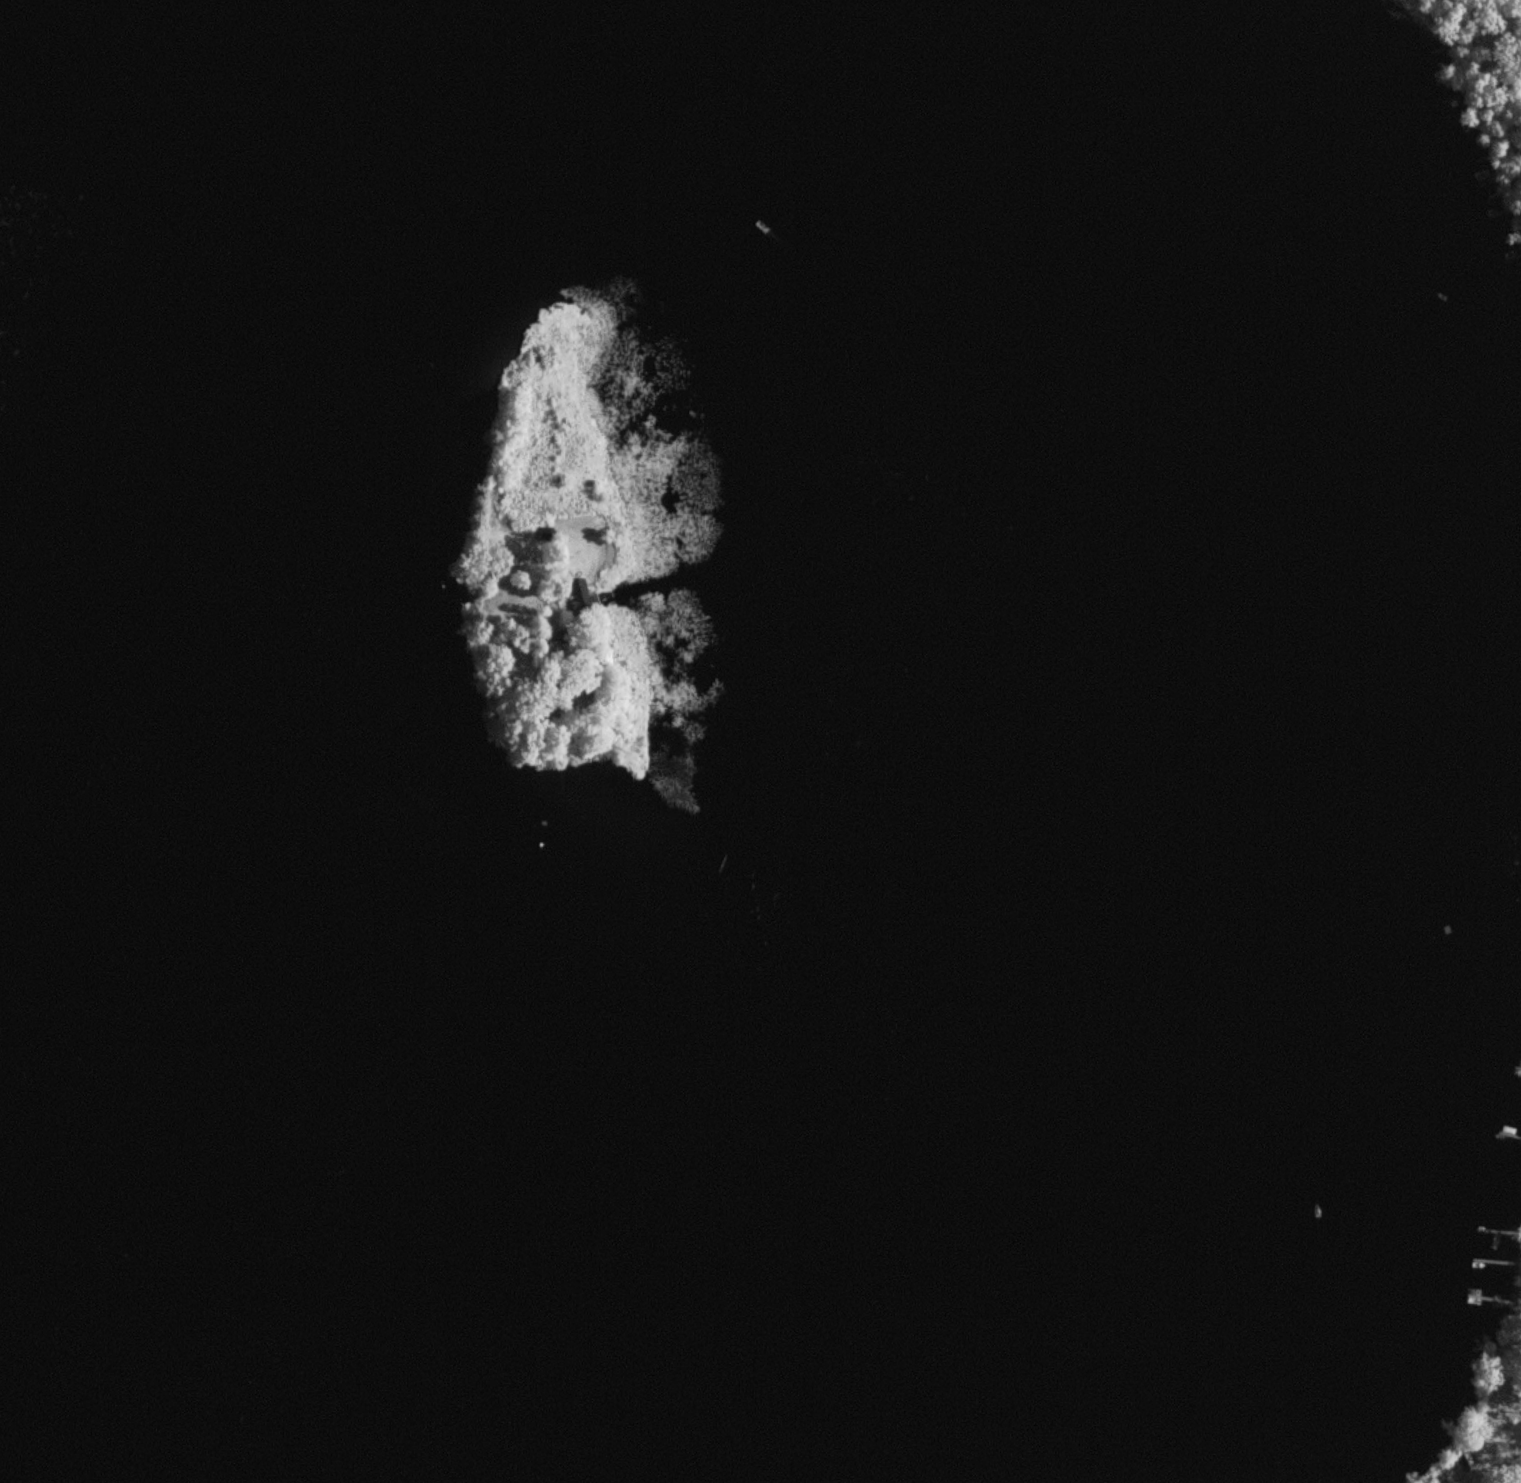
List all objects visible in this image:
road: (1499, 64)

